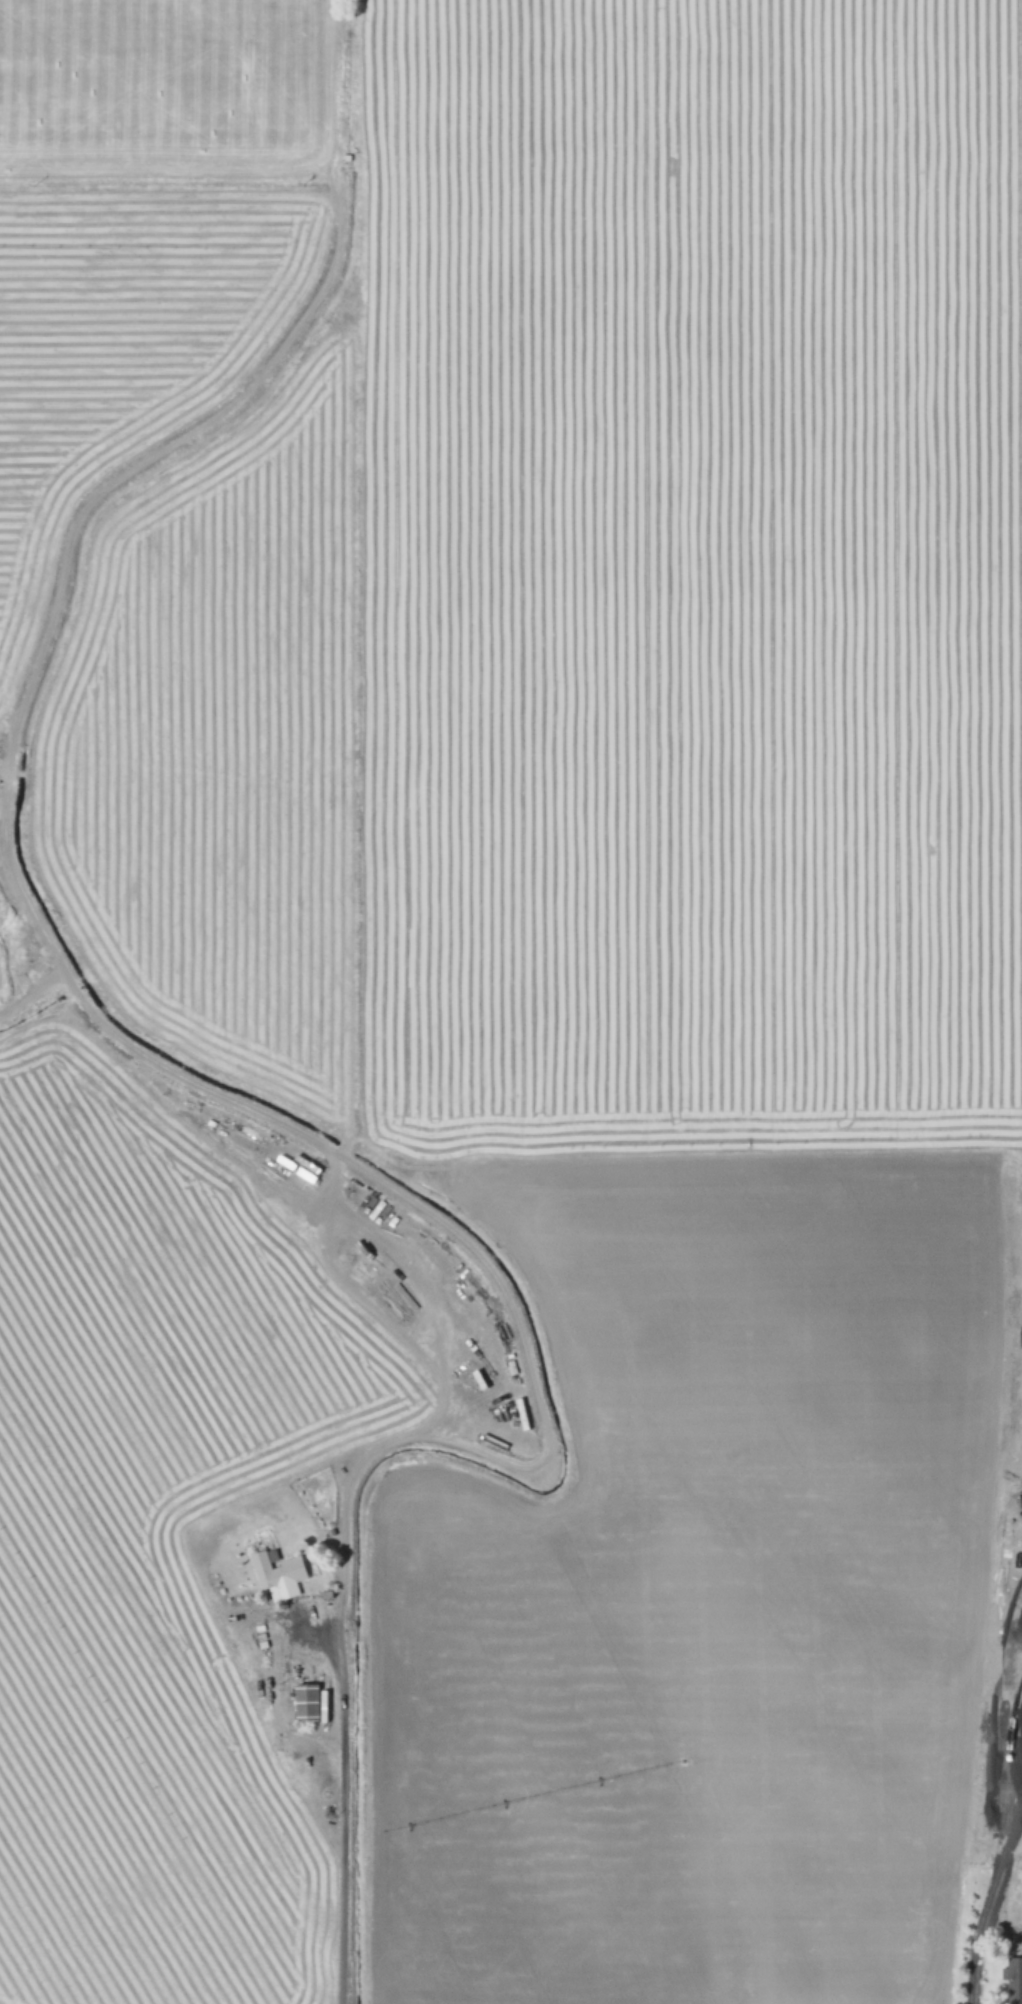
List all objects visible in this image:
crop: (511, 1002)
building: (275, 1572)
building: (305, 1702)
road: (341, 1804)
building: (1014, 1983)

